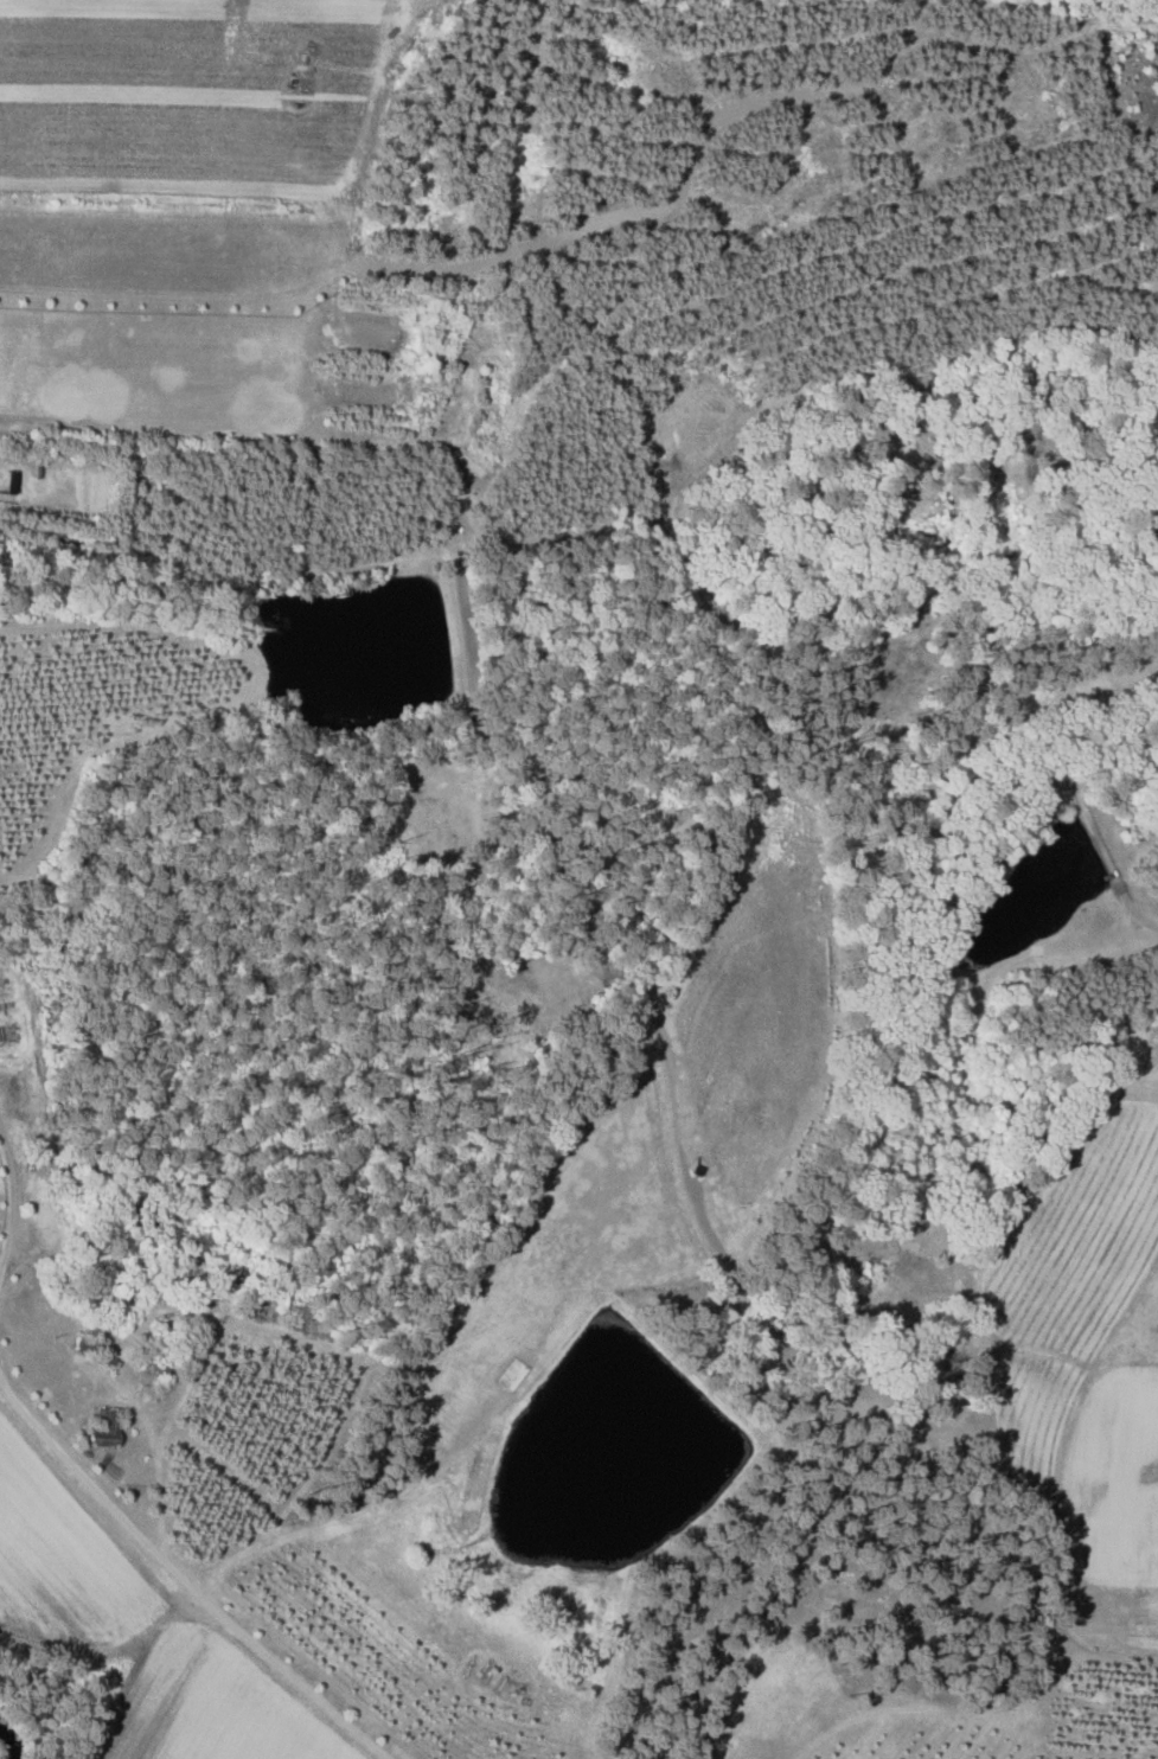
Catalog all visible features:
road: (249, 430)
building: (14, 481)
road: (12, 1196)
road: (695, 1201)
building: (111, 1425)
road: (181, 1581)

